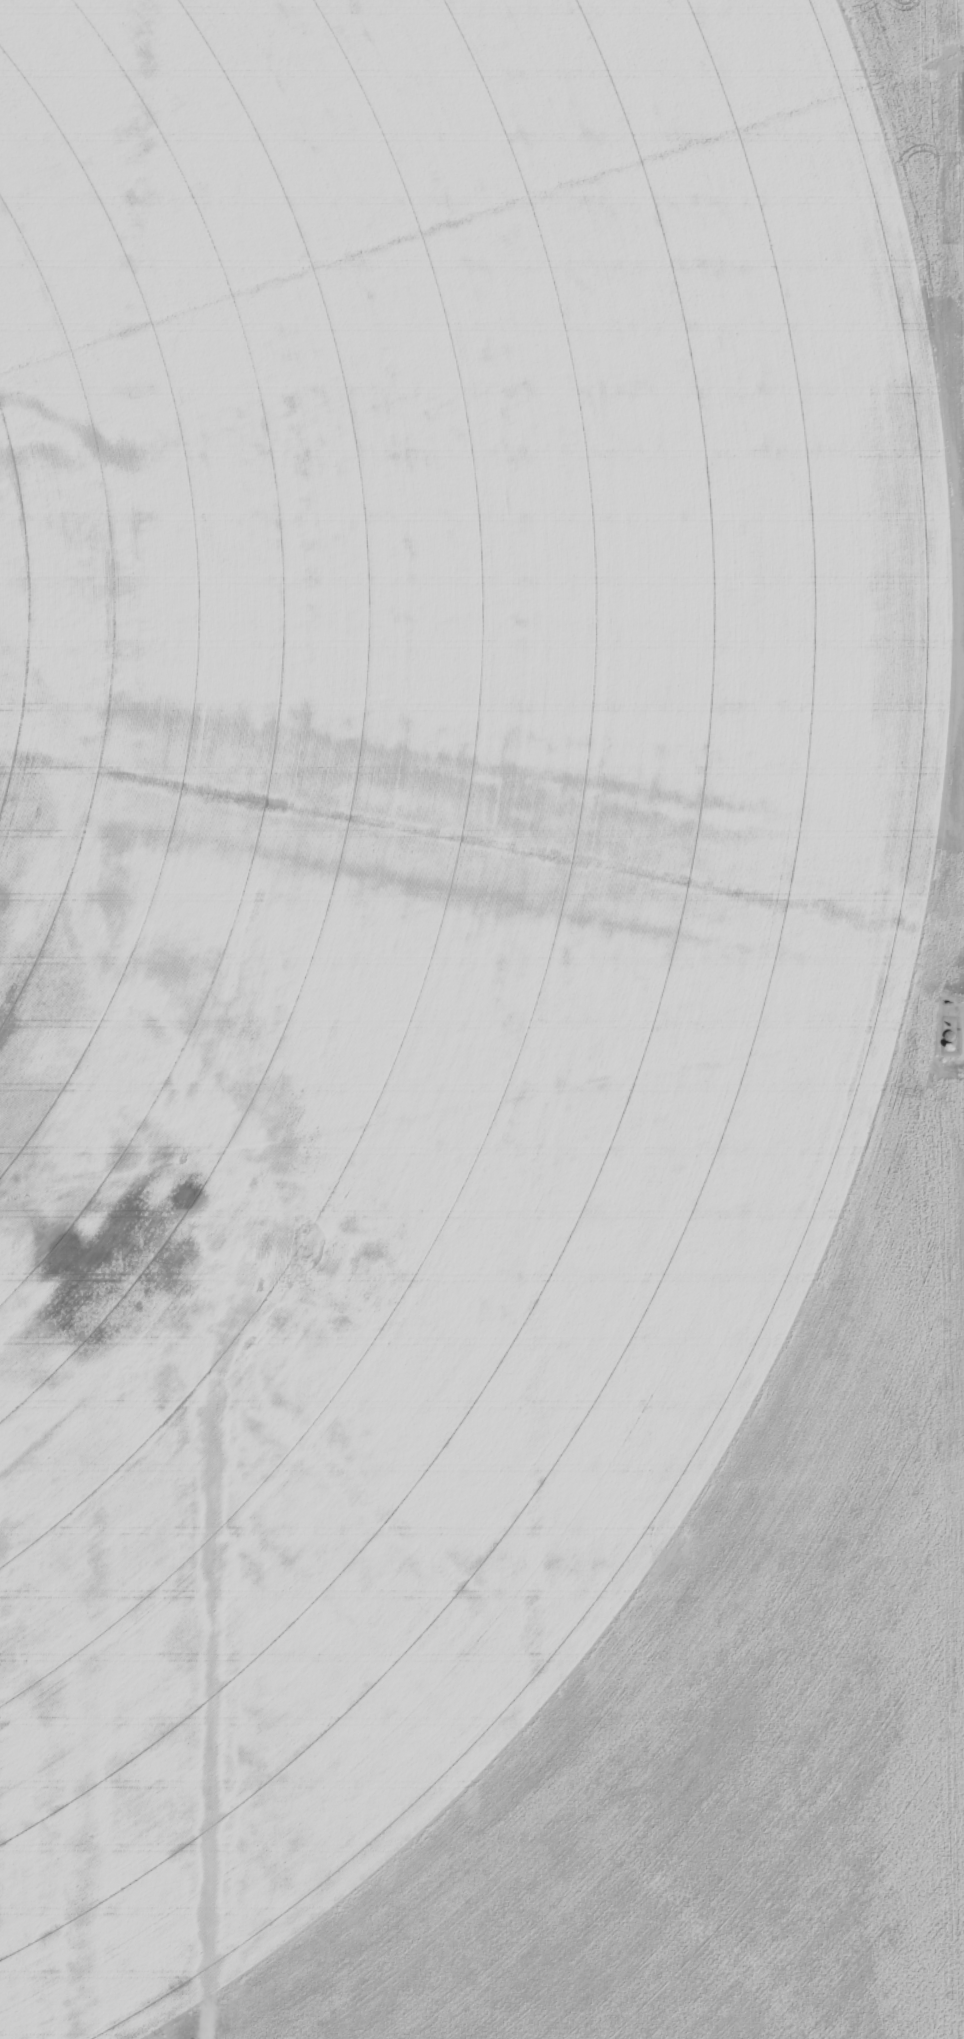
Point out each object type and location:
road: (195, 1654)

